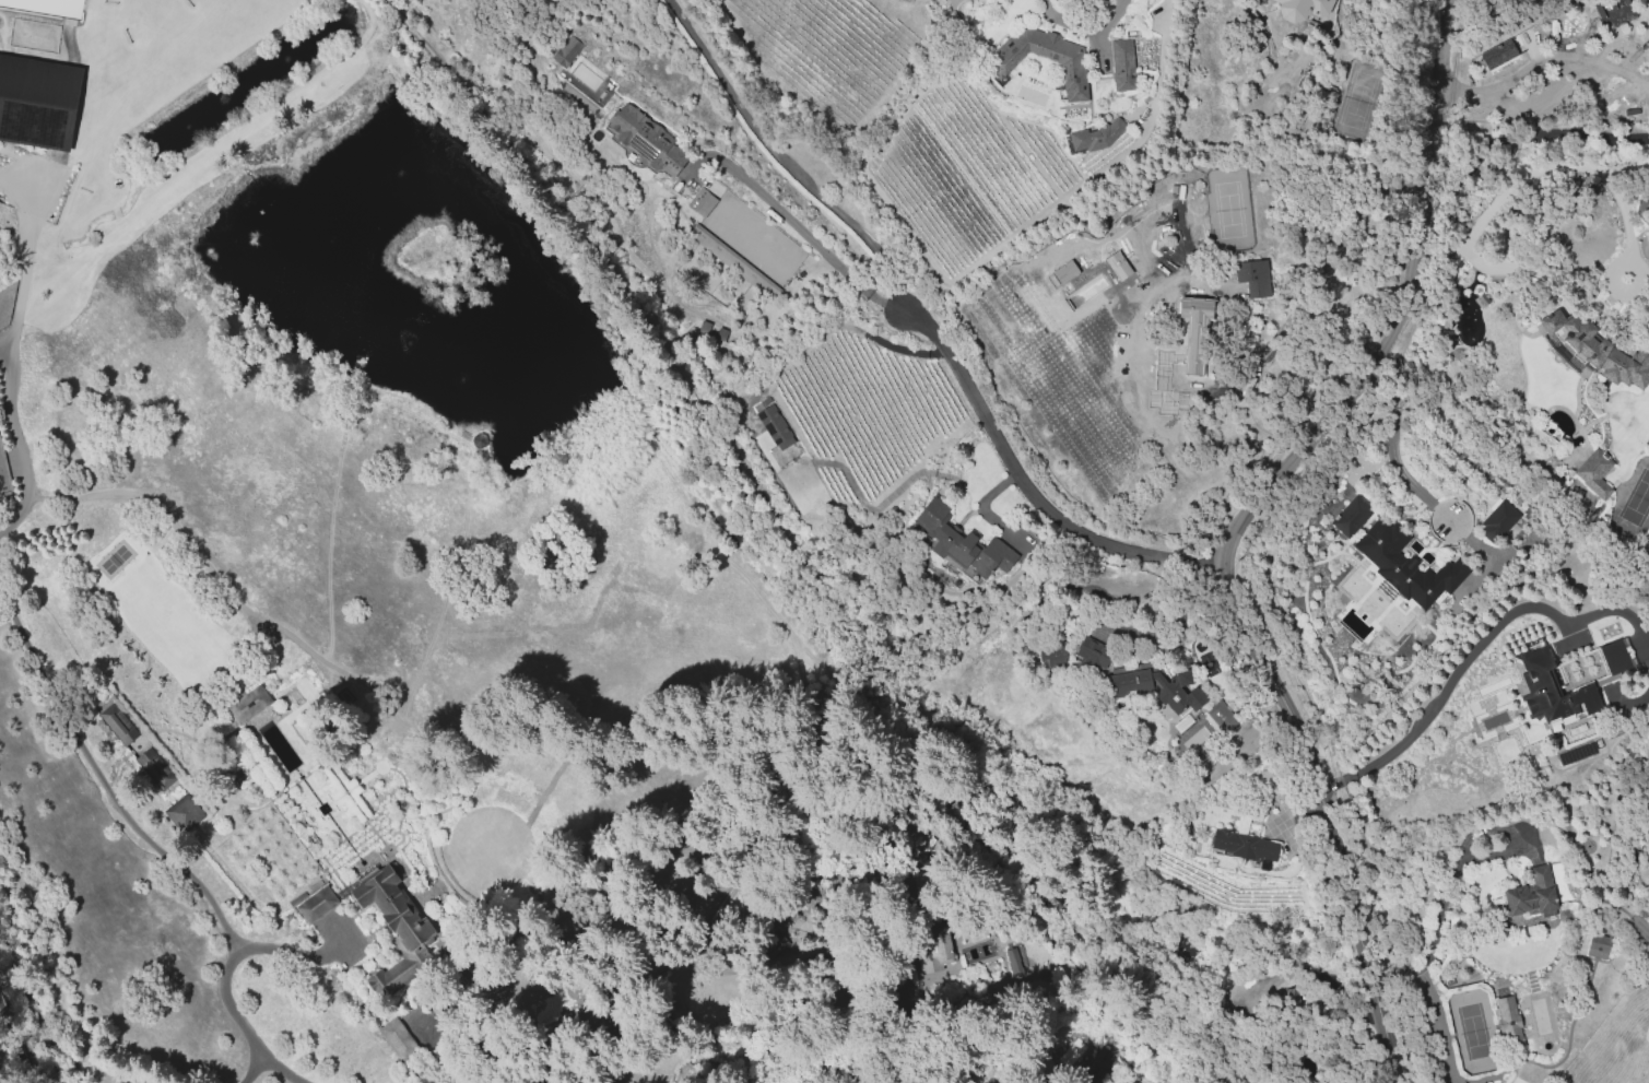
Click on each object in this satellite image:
building: (1305, 10)
road: (1084, 30)
building: (566, 50)
building: (1500, 58)
road: (1161, 62)
building: (1002, 64)
road: (1528, 64)
building: (1126, 68)
road: (1636, 73)
road: (1635, 80)
building: (37, 105)
building: (1098, 138)
building: (648, 142)
road: (785, 162)
road: (1533, 172)
building: (702, 201)
road: (808, 237)
building: (711, 245)
road: (1615, 263)
building: (1253, 276)
road: (850, 328)
road: (10, 346)
building: (1590, 354)
building: (1187, 355)
building: (772, 424)
road: (1393, 450)
building: (1594, 473)
road: (1038, 492)
building: (1348, 518)
building: (1496, 521)
road: (1247, 530)
building: (954, 545)
building: (1403, 567)
building: (1075, 649)
building: (1607, 660)
road: (1456, 671)
building: (1150, 691)
building: (1548, 691)
building: (244, 707)
building: (1216, 711)
building: (118, 722)
building: (155, 767)
road: (101, 781)
building: (180, 816)
building: (1239, 846)
building: (1532, 894)
road: (1440, 902)
building: (375, 925)
building: (937, 943)
building: (1600, 949)
road: (224, 997)
building: (1288, 997)
road: (1319, 1010)
building: (1510, 1022)
road: (1436, 1027)
road: (17, 1035)
building: (399, 1040)
road: (448, 1055)
building: (1099, 1064)
road: (1480, 1079)
building: (1480, 1082)

